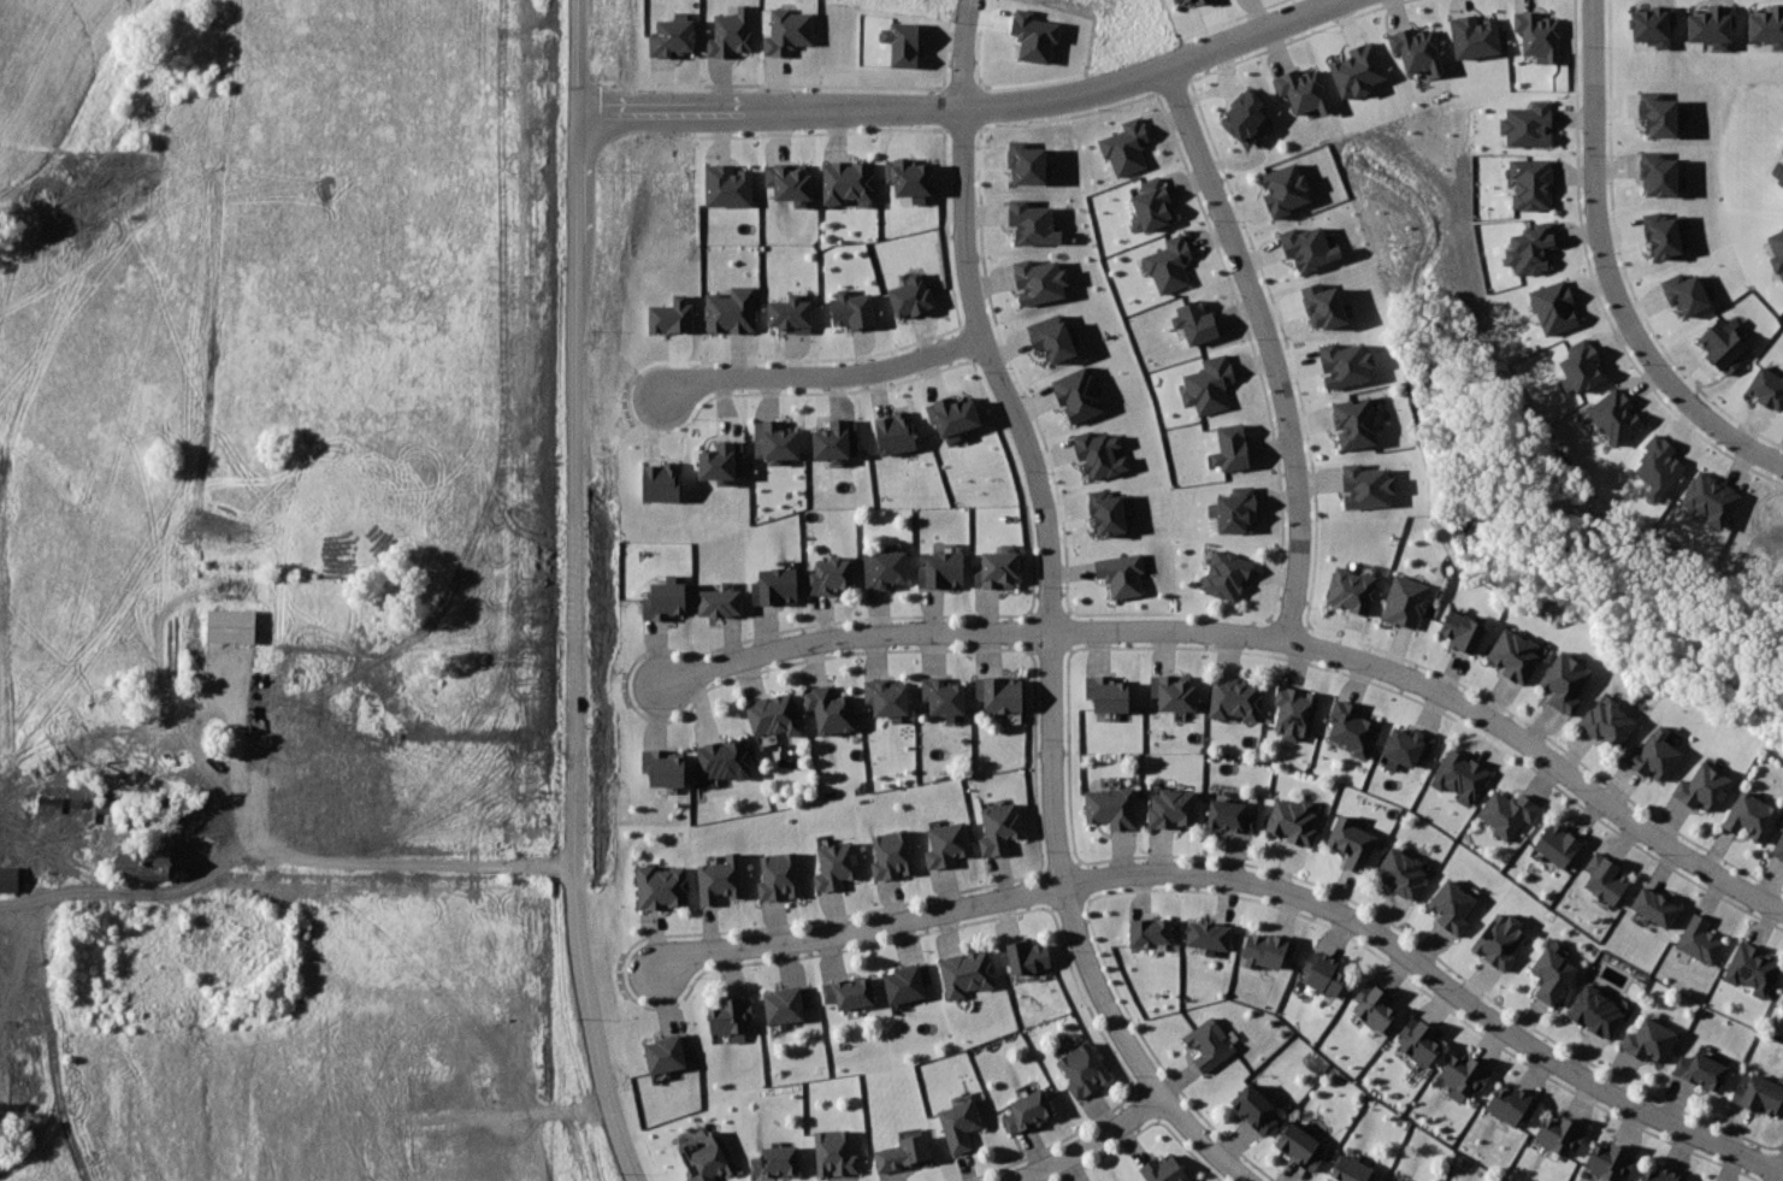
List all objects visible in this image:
building: (1197, 1)
building: (1183, 4)
building: (786, 23)
building: (726, 24)
building: (1648, 25)
building: (1708, 25)
building: (1766, 25)
building: (671, 30)
building: (1534, 31)
building: (1471, 34)
building: (1033, 35)
building: (902, 37)
building: (1412, 48)
building: (1358, 72)
building: (1299, 89)
road: (978, 112)
building: (1658, 112)
building: (1242, 113)
building: (1525, 123)
building: (1122, 138)
building: (1023, 155)
building: (1657, 173)
building: (846, 176)
building: (724, 177)
building: (1781, 177)
building: (908, 178)
building: (789, 179)
building: (1529, 183)
road: (1596, 184)
building: (1285, 185)
building: (1147, 197)
building: (1028, 218)
building: (1660, 232)
crop: (271, 236)
building: (1304, 241)
building: (1529, 248)
building: (1776, 253)
road: (1620, 256)
building: (1163, 258)
building: (1039, 270)
road: (1593, 282)
building: (910, 291)
building: (1683, 293)
building: (1318, 299)
building: (851, 305)
building: (728, 306)
building: (1551, 306)
building: (786, 309)
building: (1193, 313)
building: (671, 315)
building: (1050, 335)
building: (1720, 343)
road: (1265, 348)
building: (1340, 358)
building: (1577, 366)
road: (829, 378)
building: (1205, 378)
building: (1766, 388)
building: (1076, 389)
building: (950, 412)
building: (1612, 415)
building: (1350, 418)
road: (1710, 420)
building: (831, 430)
building: (892, 432)
building: (774, 436)
building: (1222, 441)
building: (1097, 444)
building: (716, 454)
building: (1657, 465)
building: (1358, 480)
building: (654, 484)
building: (1708, 497)
building: (1236, 503)
building: (1106, 512)
building: (943, 568)
building: (885, 569)
building: (999, 569)
building: (1227, 572)
building: (1118, 573)
building: (831, 575)
building: (775, 585)
building: (1351, 586)
road: (578, 594)
building: (665, 600)
building: (720, 602)
building: (1405, 602)
road: (1049, 613)
building: (230, 625)
building: (1463, 628)
road: (1256, 636)
building: (1517, 654)
building: (1566, 681)
building: (1174, 691)
building: (1110, 692)
building: (999, 693)
building: (944, 696)
building: (887, 697)
building: (1236, 699)
building: (829, 709)
building: (1295, 710)
building: (775, 714)
building: (1610, 721)
building: (1352, 726)
building: (1407, 745)
building: (1655, 754)
building: (724, 760)
building: (665, 768)
building: (1460, 778)
building: (1706, 786)
building: (354, 797)
building: (1112, 807)
building: (1174, 809)
building: (1510, 814)
building: (1752, 815)
building: (1232, 816)
building: (1295, 820)
building: (1000, 828)
building: (1352, 843)
building: (947, 845)
building: (1558, 845)
building: (1779, 846)
building: (892, 854)
building: (146, 858)
road: (318, 863)
building: (837, 866)
building: (1403, 873)
building: (780, 876)
building: (1606, 878)
building: (10, 879)
building: (720, 879)
road: (1252, 882)
building: (662, 885)
road: (134, 896)
building: (1453, 907)
building: (1657, 907)
building: (1149, 935)
building: (1209, 939)
building: (1501, 940)
building: (1701, 940)
building: (1268, 952)
building: (1023, 957)
building: (1753, 969)
building: (967, 973)
building: (1324, 973)
building: (1554, 974)
building: (905, 984)
building: (850, 992)
building: (1782, 1002)
building: (787, 1004)
building: (1376, 1004)
building: (1598, 1011)
building: (731, 1016)
building: (1421, 1039)
building: (1651, 1040)
building: (1210, 1043)
building: (668, 1051)
building: (1702, 1069)
building: (1466, 1071)
building: (1082, 1073)
building: (1761, 1094)
building: (1511, 1106)
building: (1257, 1109)
building: (1029, 1111)
building: (960, 1126)
building: (1560, 1135)
road: (1090, 1142)
building: (1303, 1147)
building: (905, 1152)
building: (836, 1153)
building: (712, 1159)
building: (1612, 1161)
building: (777, 1162)
building: (1354, 1170)
building: (1157, 1171)
building: (1660, 1175)
building: (1394, 1180)

